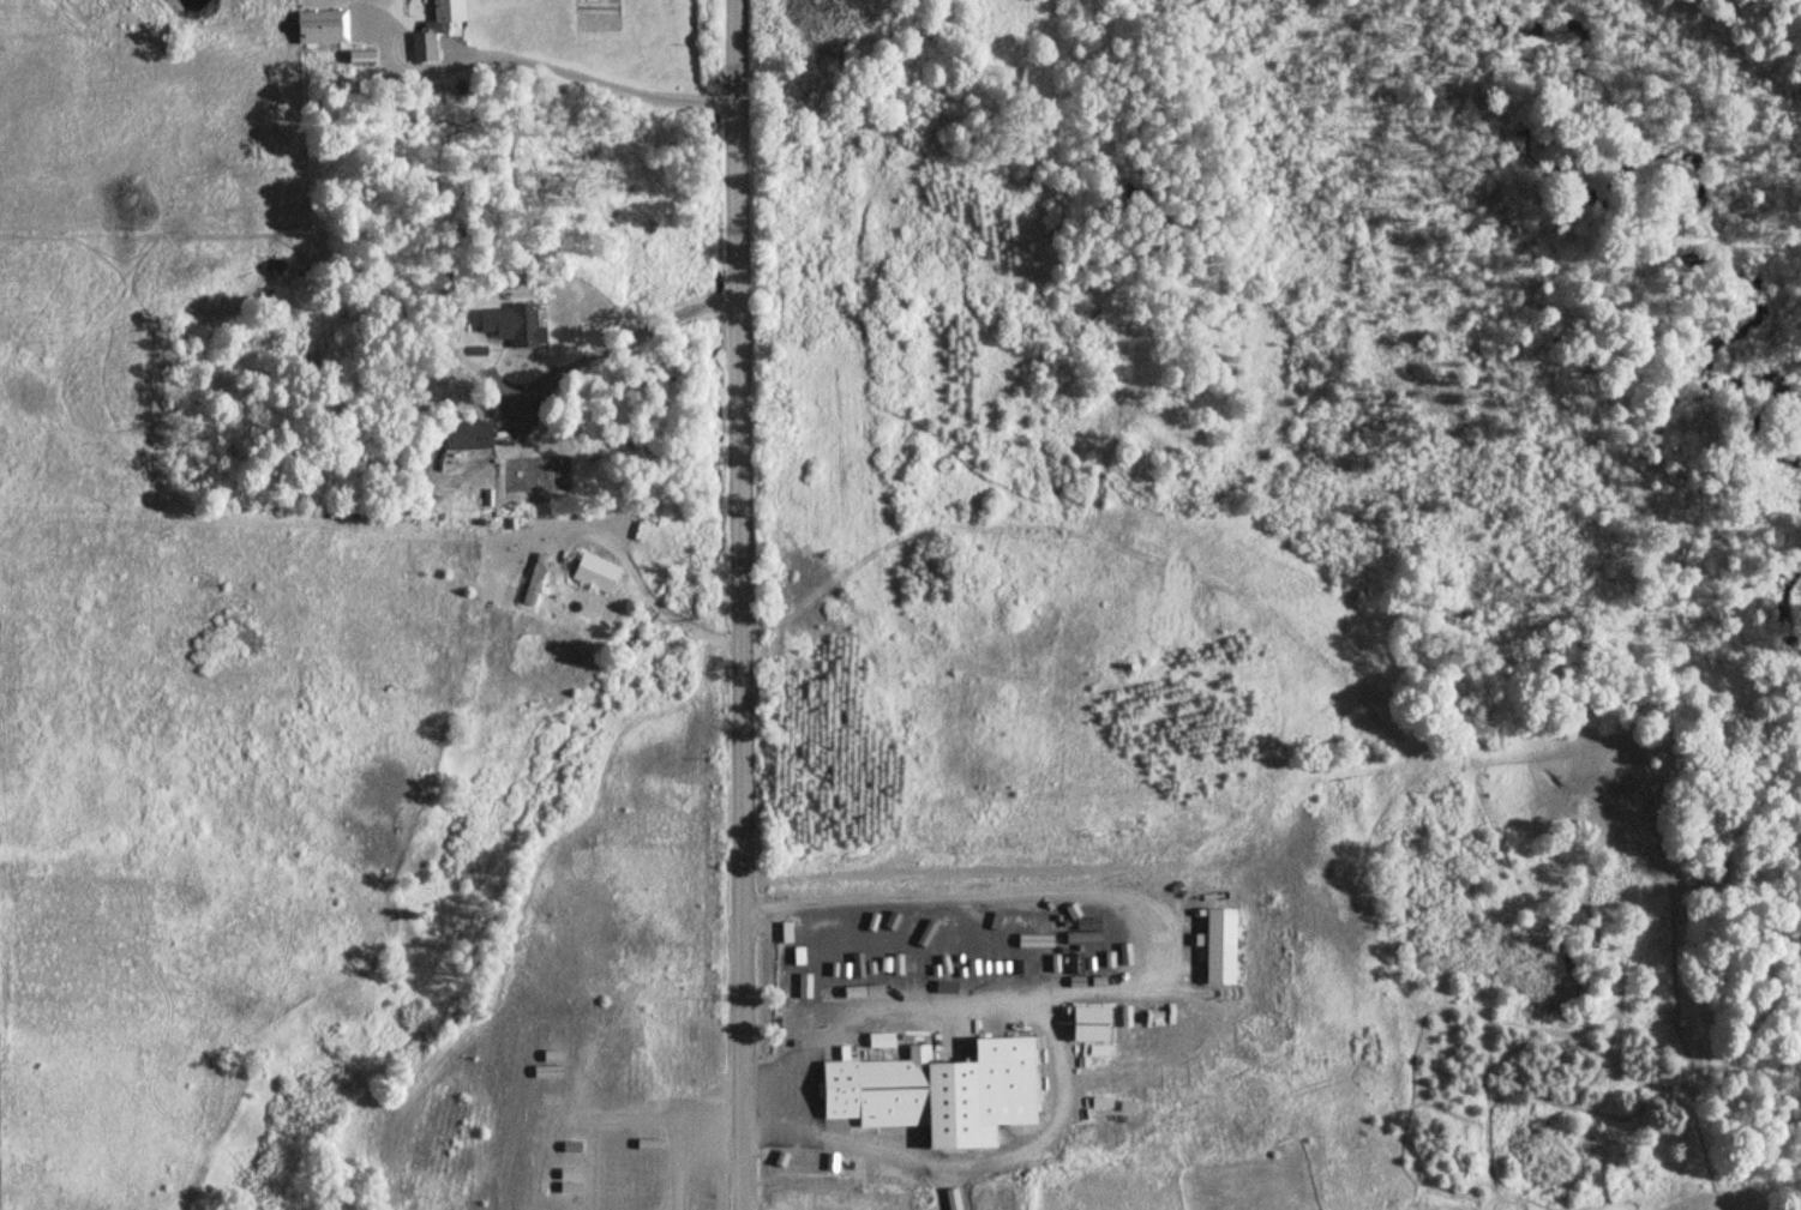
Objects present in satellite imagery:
building: (422, 34)
building: (468, 434)
building: (593, 573)
building: (533, 579)
road: (744, 604)
building: (1215, 946)
building: (926, 1095)

